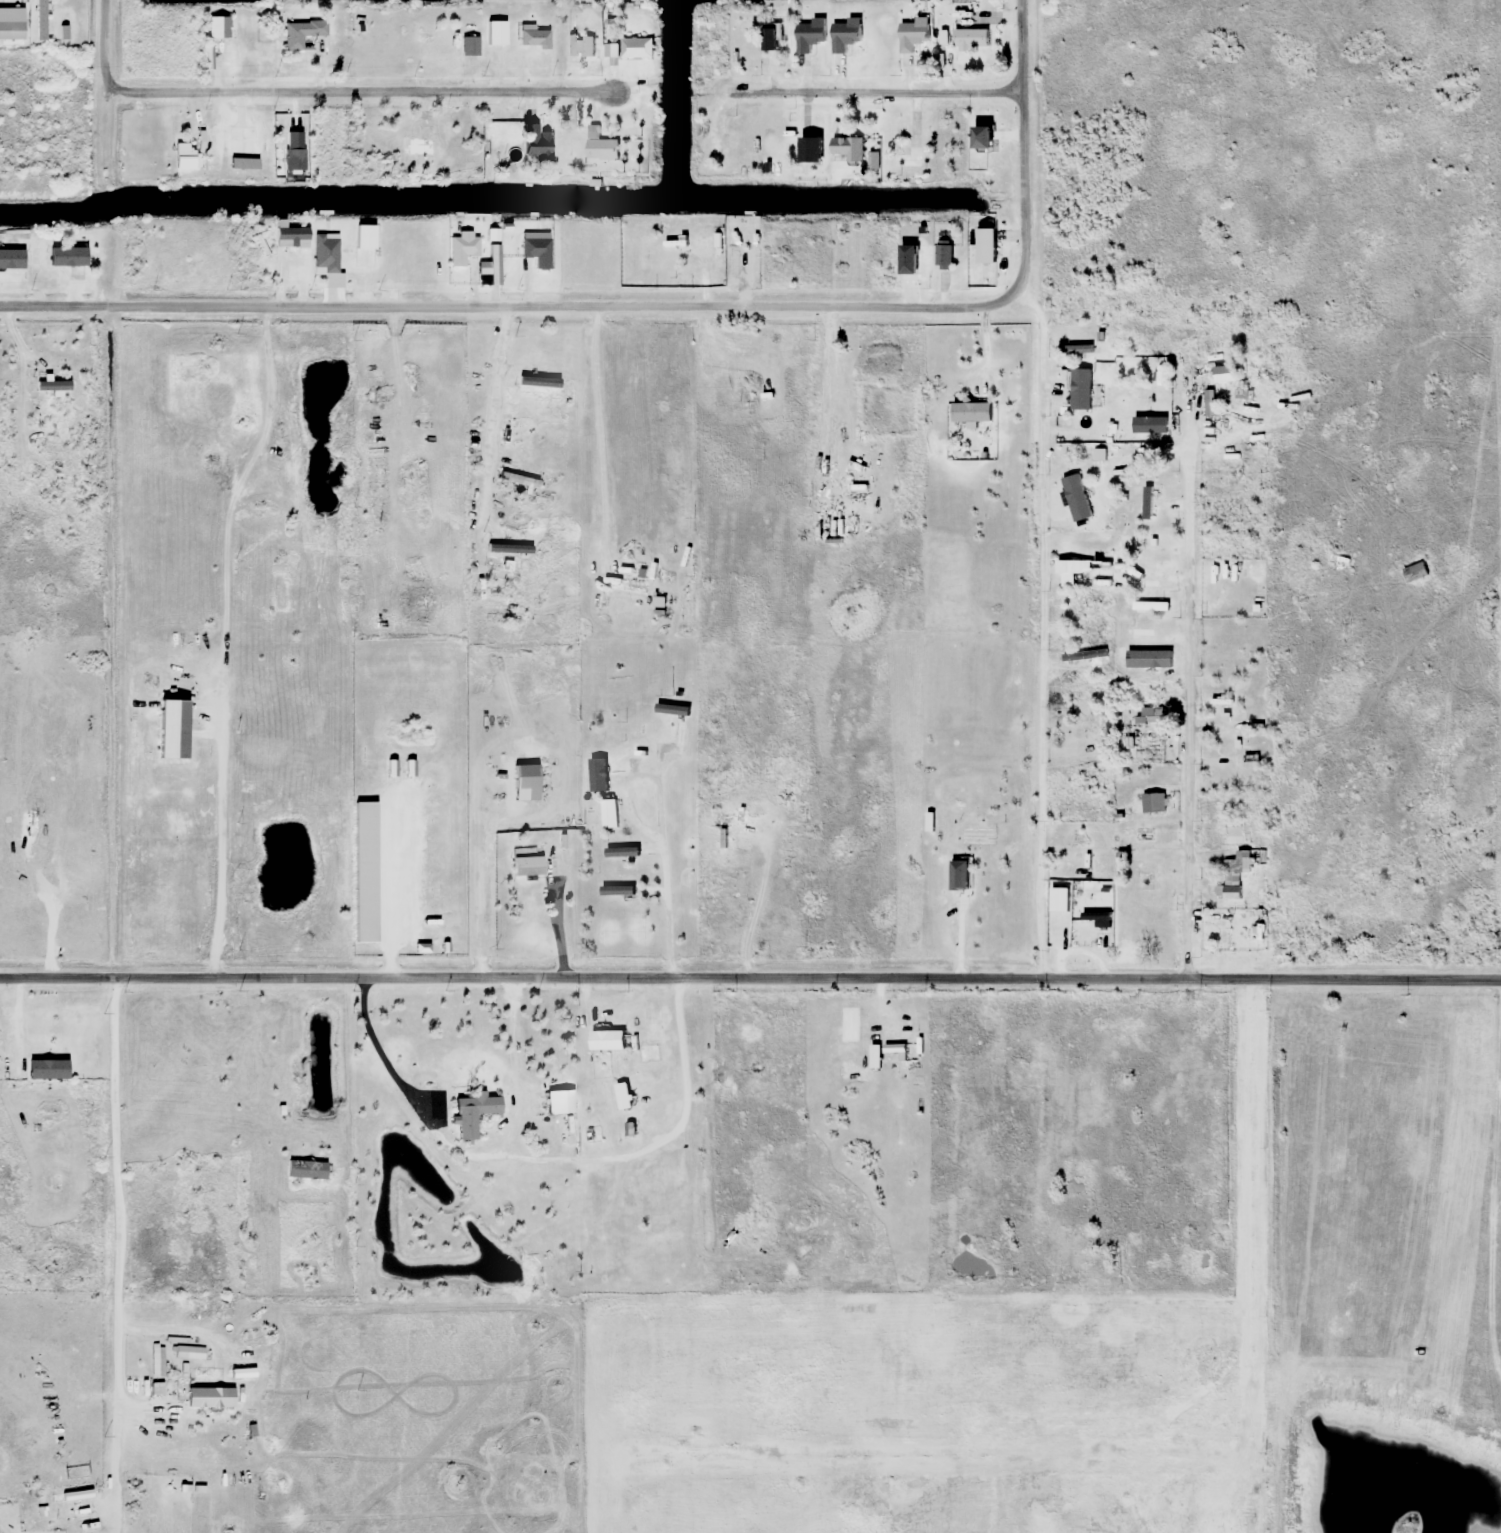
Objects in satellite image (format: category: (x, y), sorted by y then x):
building: (40, 20)
building: (217, 28)
building: (968, 30)
building: (64, 32)
building: (301, 33)
building: (845, 35)
building: (912, 35)
building: (808, 36)
building: (768, 41)
road: (103, 43)
building: (442, 46)
building: (580, 46)
building: (636, 49)
building: (611, 51)
road: (356, 92)
road: (879, 97)
building: (417, 144)
building: (535, 144)
building: (600, 146)
building: (704, 149)
building: (808, 149)
building: (846, 150)
road: (1020, 156)
building: (182, 157)
building: (904, 158)
building: (291, 160)
building: (290, 238)
building: (462, 249)
building: (536, 253)
building: (324, 254)
building: (944, 257)
building: (74, 259)
building: (910, 259)
road: (499, 305)
building: (538, 387)
building: (1075, 401)
building: (749, 404)
road: (493, 409)
building: (977, 410)
road: (597, 417)
building: (1101, 457)
building: (56, 458)
building: (61, 473)
building: (1149, 497)
building: (836, 527)
building: (507, 551)
building: (385, 567)
building: (1068, 573)
building: (1139, 581)
building: (634, 583)
building: (539, 597)
building: (659, 603)
building: (1080, 605)
building: (1150, 607)
building: (503, 620)
building: (1140, 633)
road: (1195, 654)
building: (1227, 656)
building: (1102, 663)
building: (1222, 715)
building: (1154, 716)
building: (680, 730)
building: (1227, 747)
building: (1146, 749)
road: (1036, 756)
building: (1157, 775)
building: (524, 784)
building: (1153, 803)
building: (608, 817)
building: (1232, 833)
building: (1144, 835)
building: (976, 837)
building: (724, 839)
building: (526, 863)
building: (1236, 873)
building: (1096, 920)
building: (1255, 936)
building: (1075, 938)
road: (750, 983)
building: (607, 1039)
building: (651, 1053)
building: (44, 1072)
building: (560, 1102)
building: (471, 1113)
road: (540, 1153)
building: (306, 1169)
building: (650, 1243)
building: (596, 1256)

